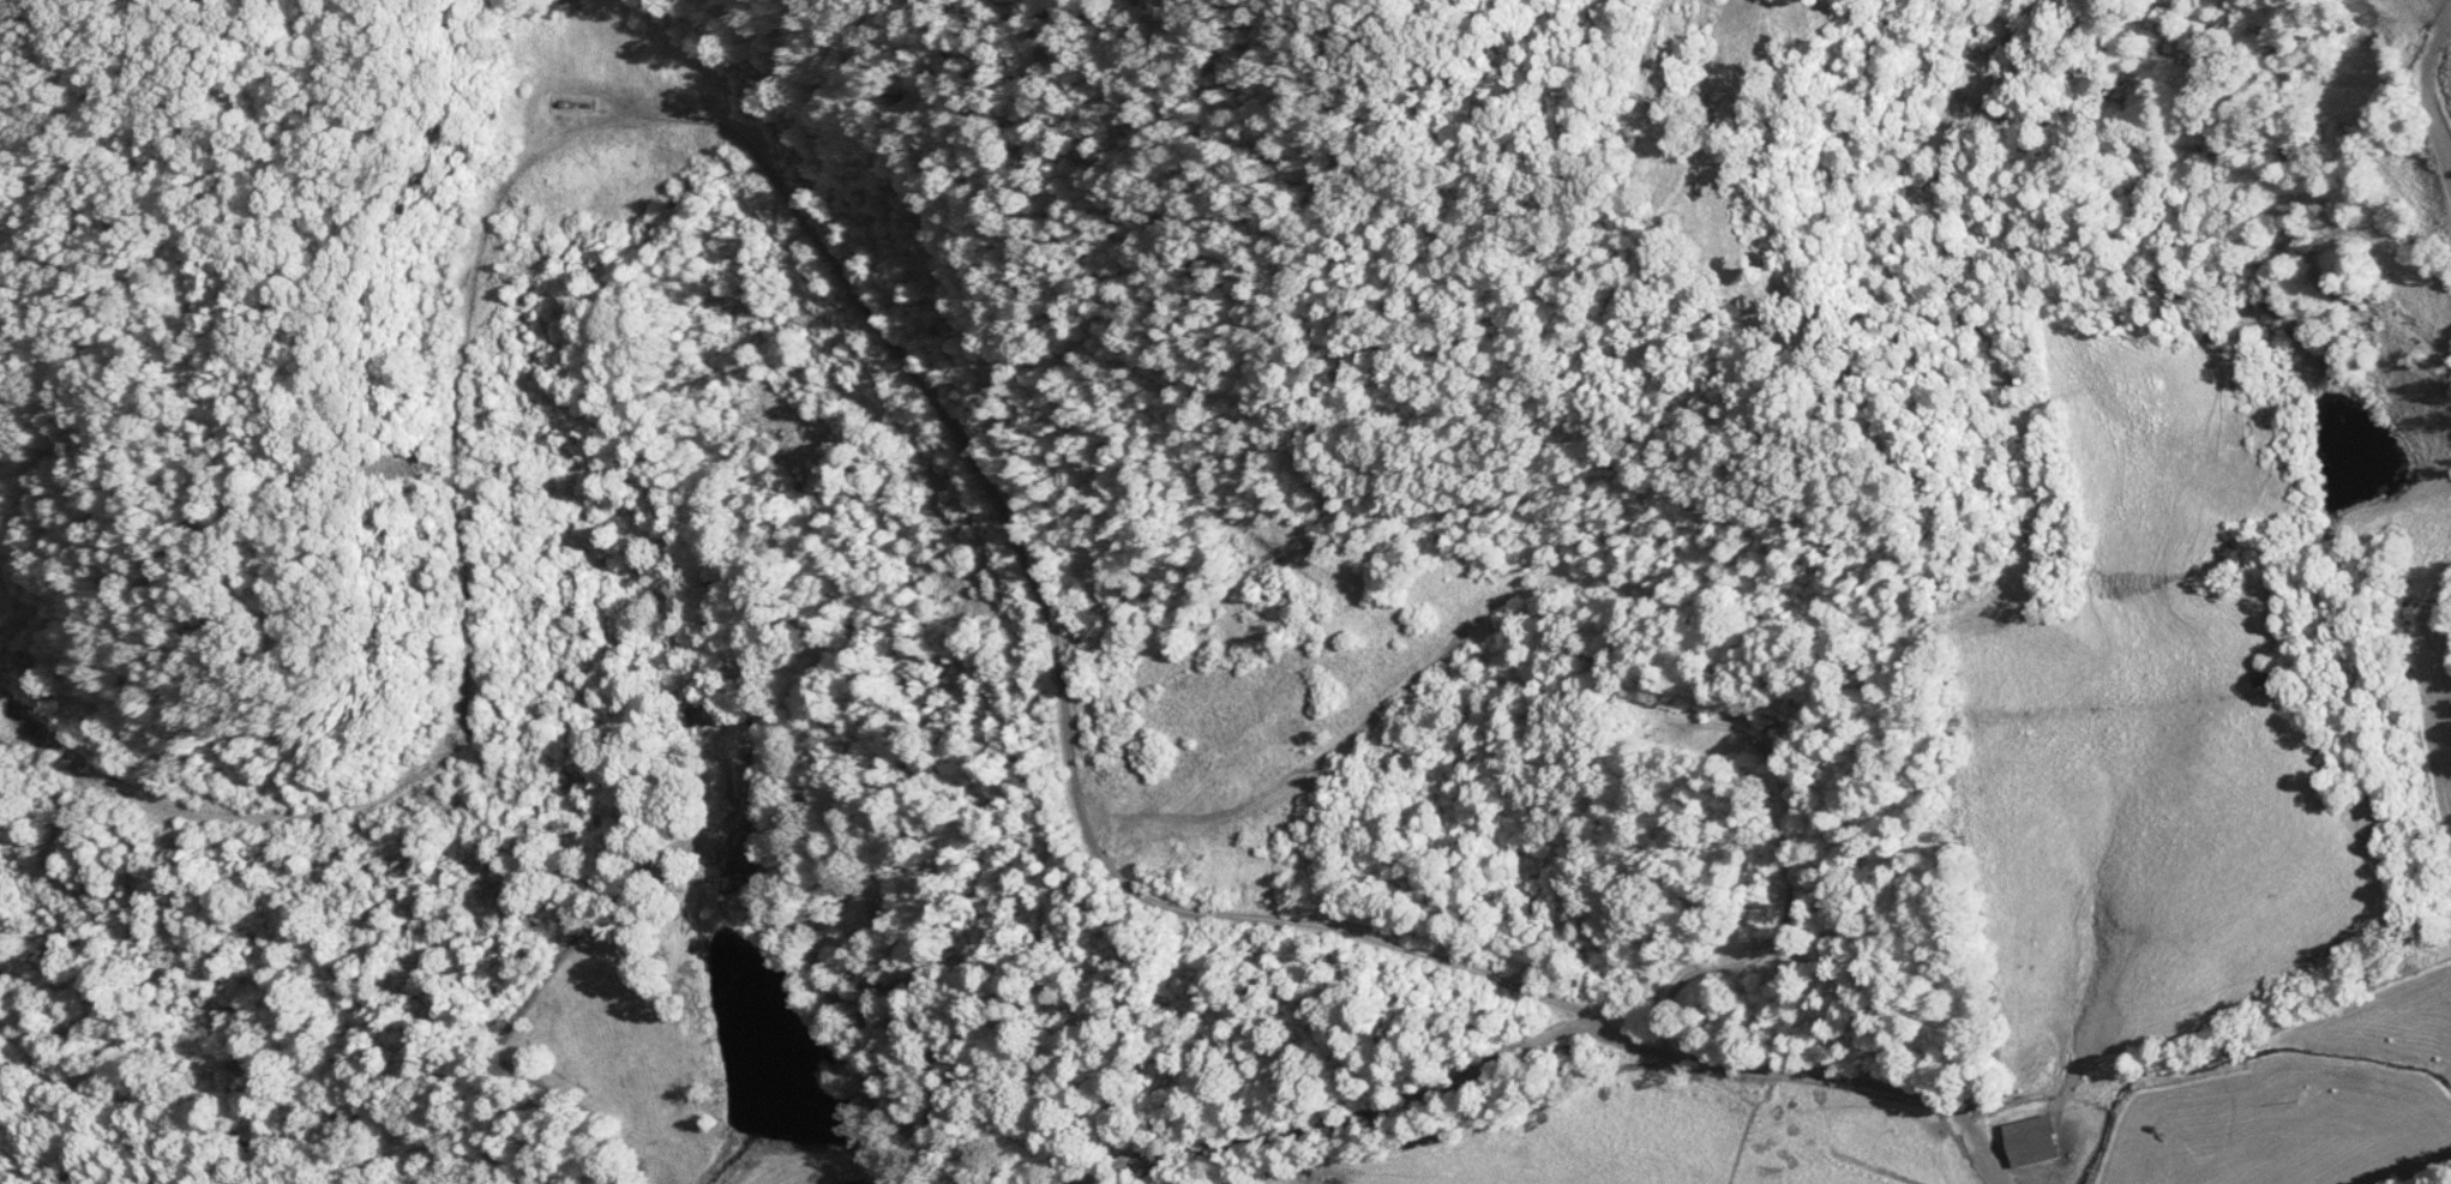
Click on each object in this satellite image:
road: (1912, 1122)
building: (2035, 1141)

